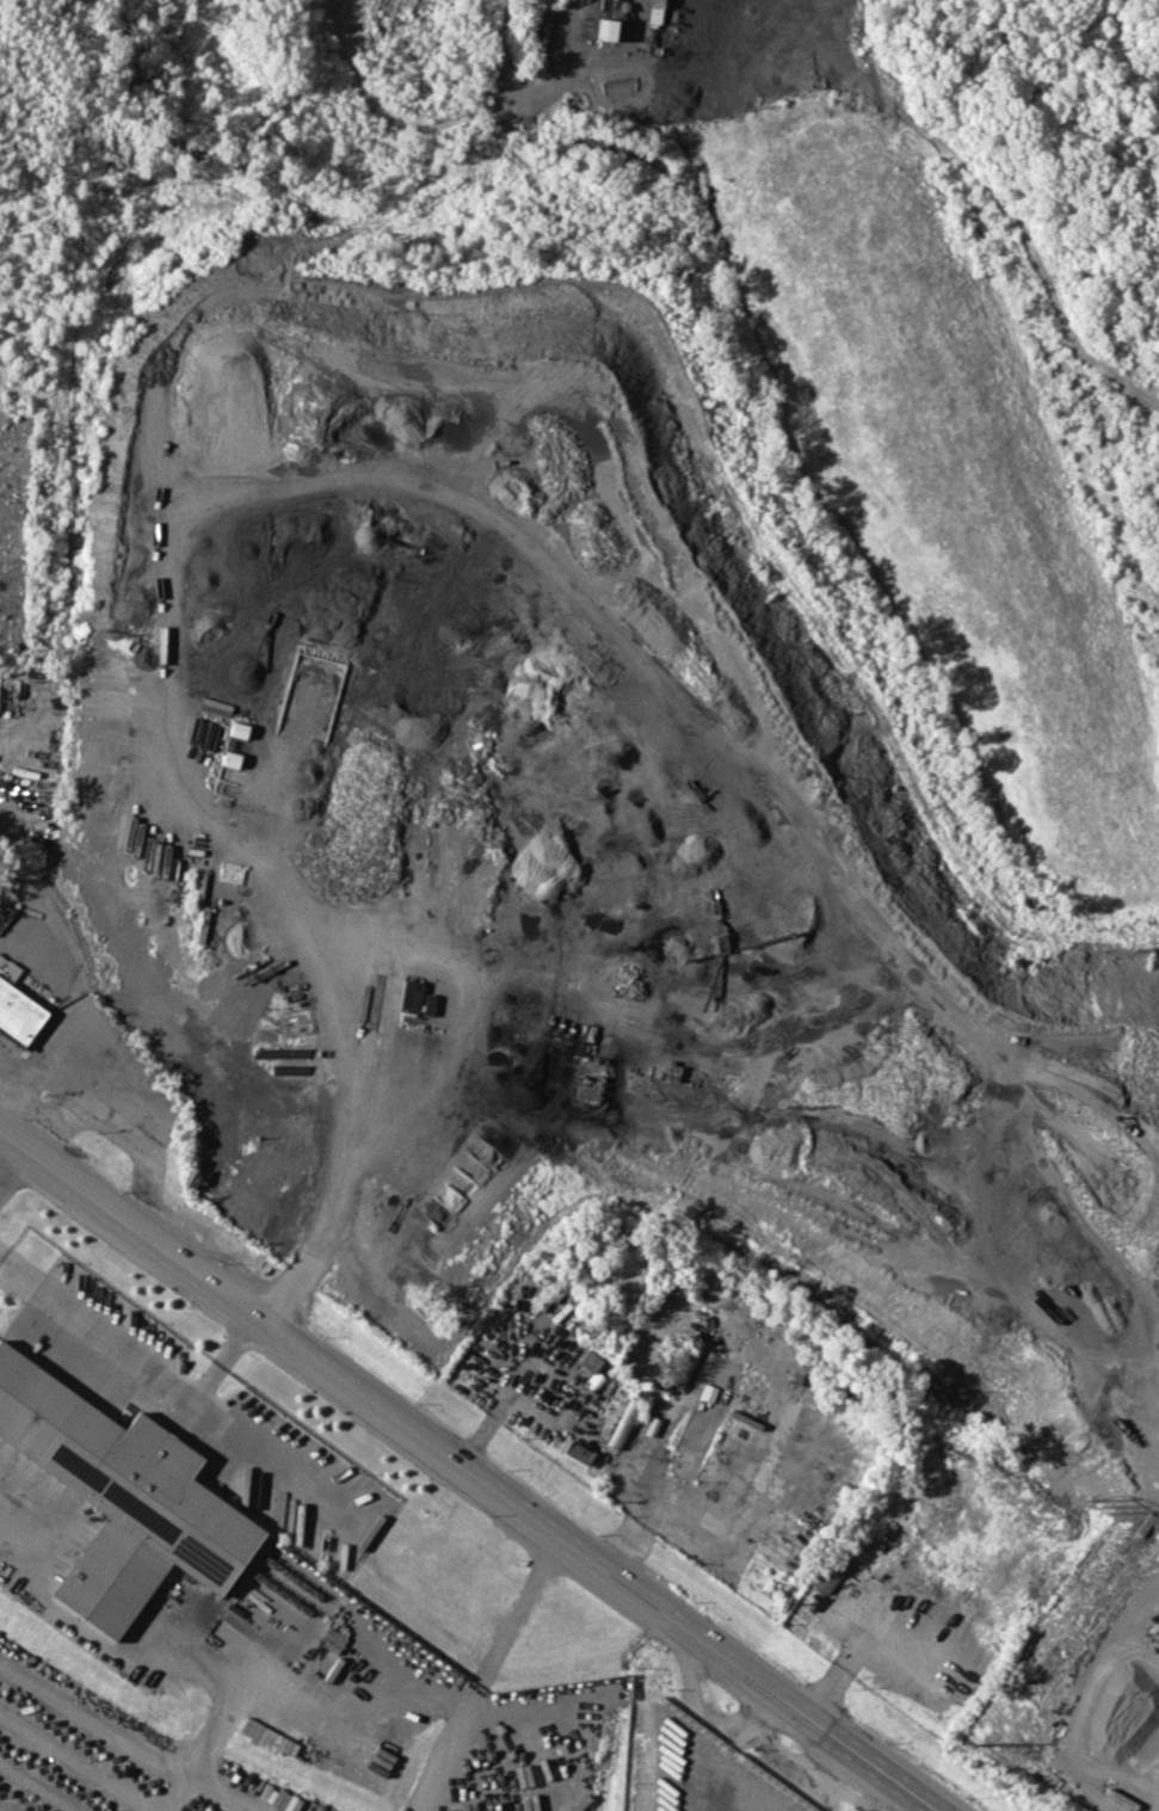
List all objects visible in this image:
building: (653, 11)
building: (603, 27)
road: (1024, 260)
building: (406, 994)
building: (16, 1006)
road: (346, 1126)
road: (11, 1164)
road: (222, 1357)
building: (683, 1363)
road: (178, 1391)
road: (494, 1410)
building: (624, 1417)
road: (467, 1470)
building: (123, 1497)
power tower: (1080, 1501)
building: (828, 1571)
building: (882, 1595)
road: (485, 1673)
road: (832, 1675)
road: (699, 1719)
road: (124, 1736)
power tower: (951, 1748)
road: (839, 1779)
road: (179, 1794)

